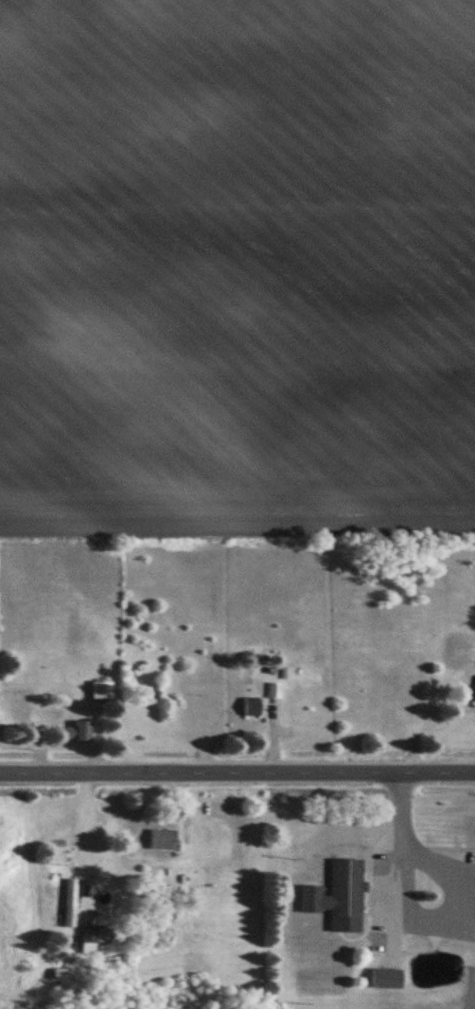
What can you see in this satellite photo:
building: (103, 691)
building: (277, 691)
building: (254, 707)
building: (84, 732)
building: (68, 734)
road: (237, 772)
building: (472, 832)
building: (165, 839)
building: (341, 896)
building: (73, 903)
building: (91, 935)
building: (388, 978)

